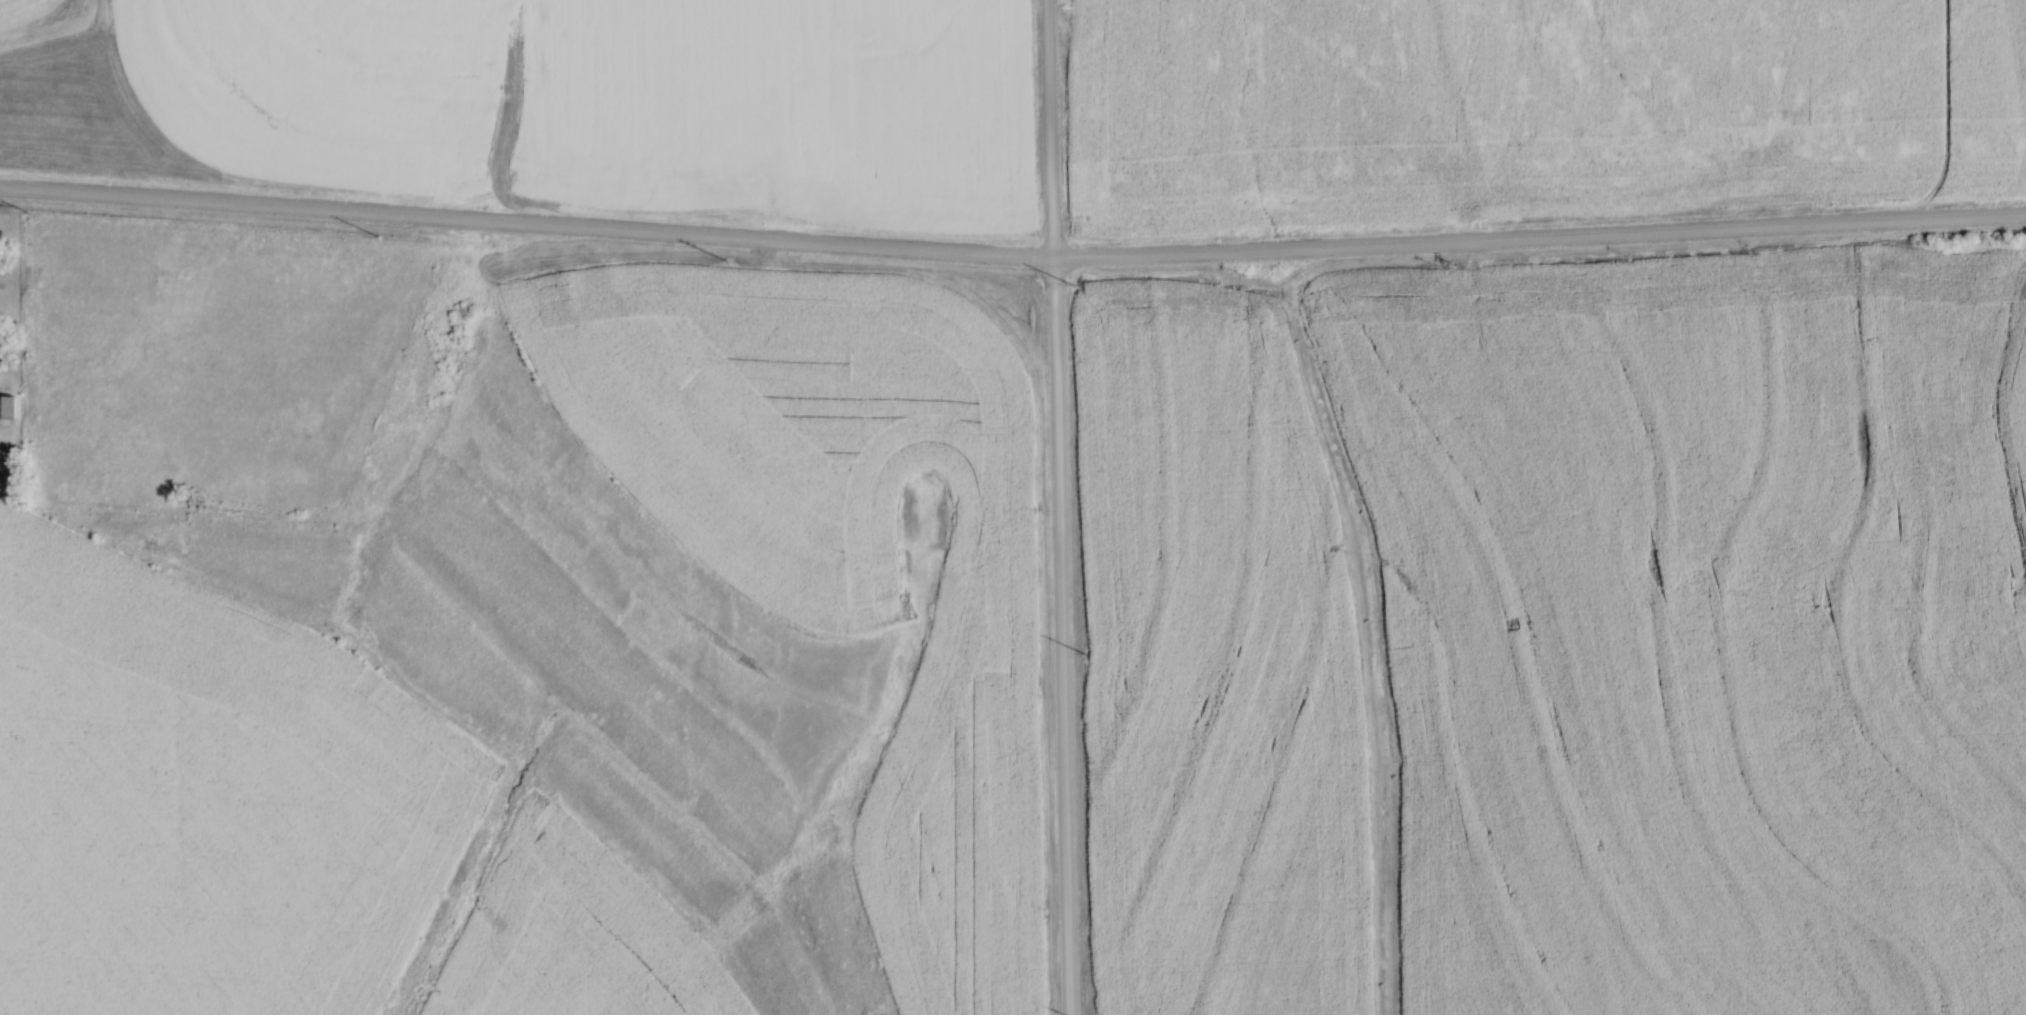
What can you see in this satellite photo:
road: (1012, 257)
building: (6, 407)
road: (1061, 507)

